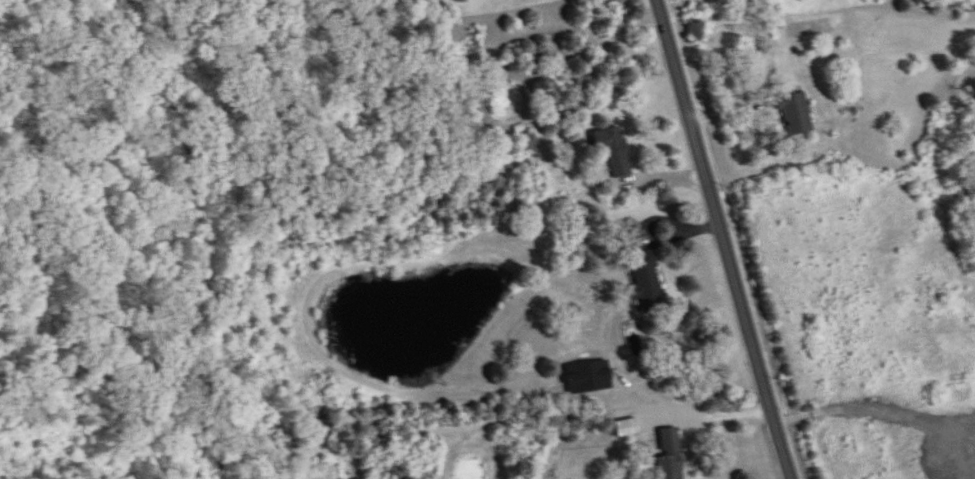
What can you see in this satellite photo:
building: (796, 114)
building: (529, 142)
building: (615, 151)
road: (643, 179)
road: (674, 229)
road: (724, 239)
building: (648, 282)
building: (608, 382)
road: (663, 400)
building: (671, 455)

